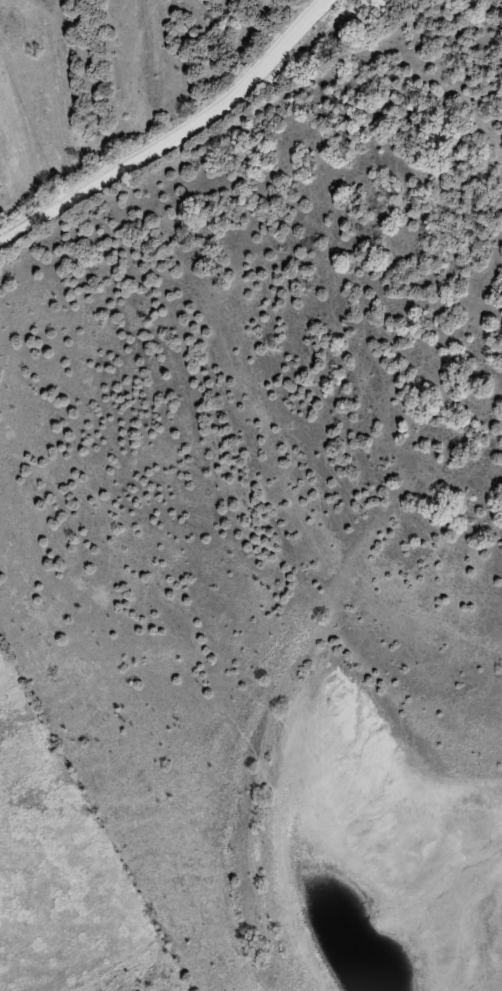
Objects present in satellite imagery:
road: (174, 130)

